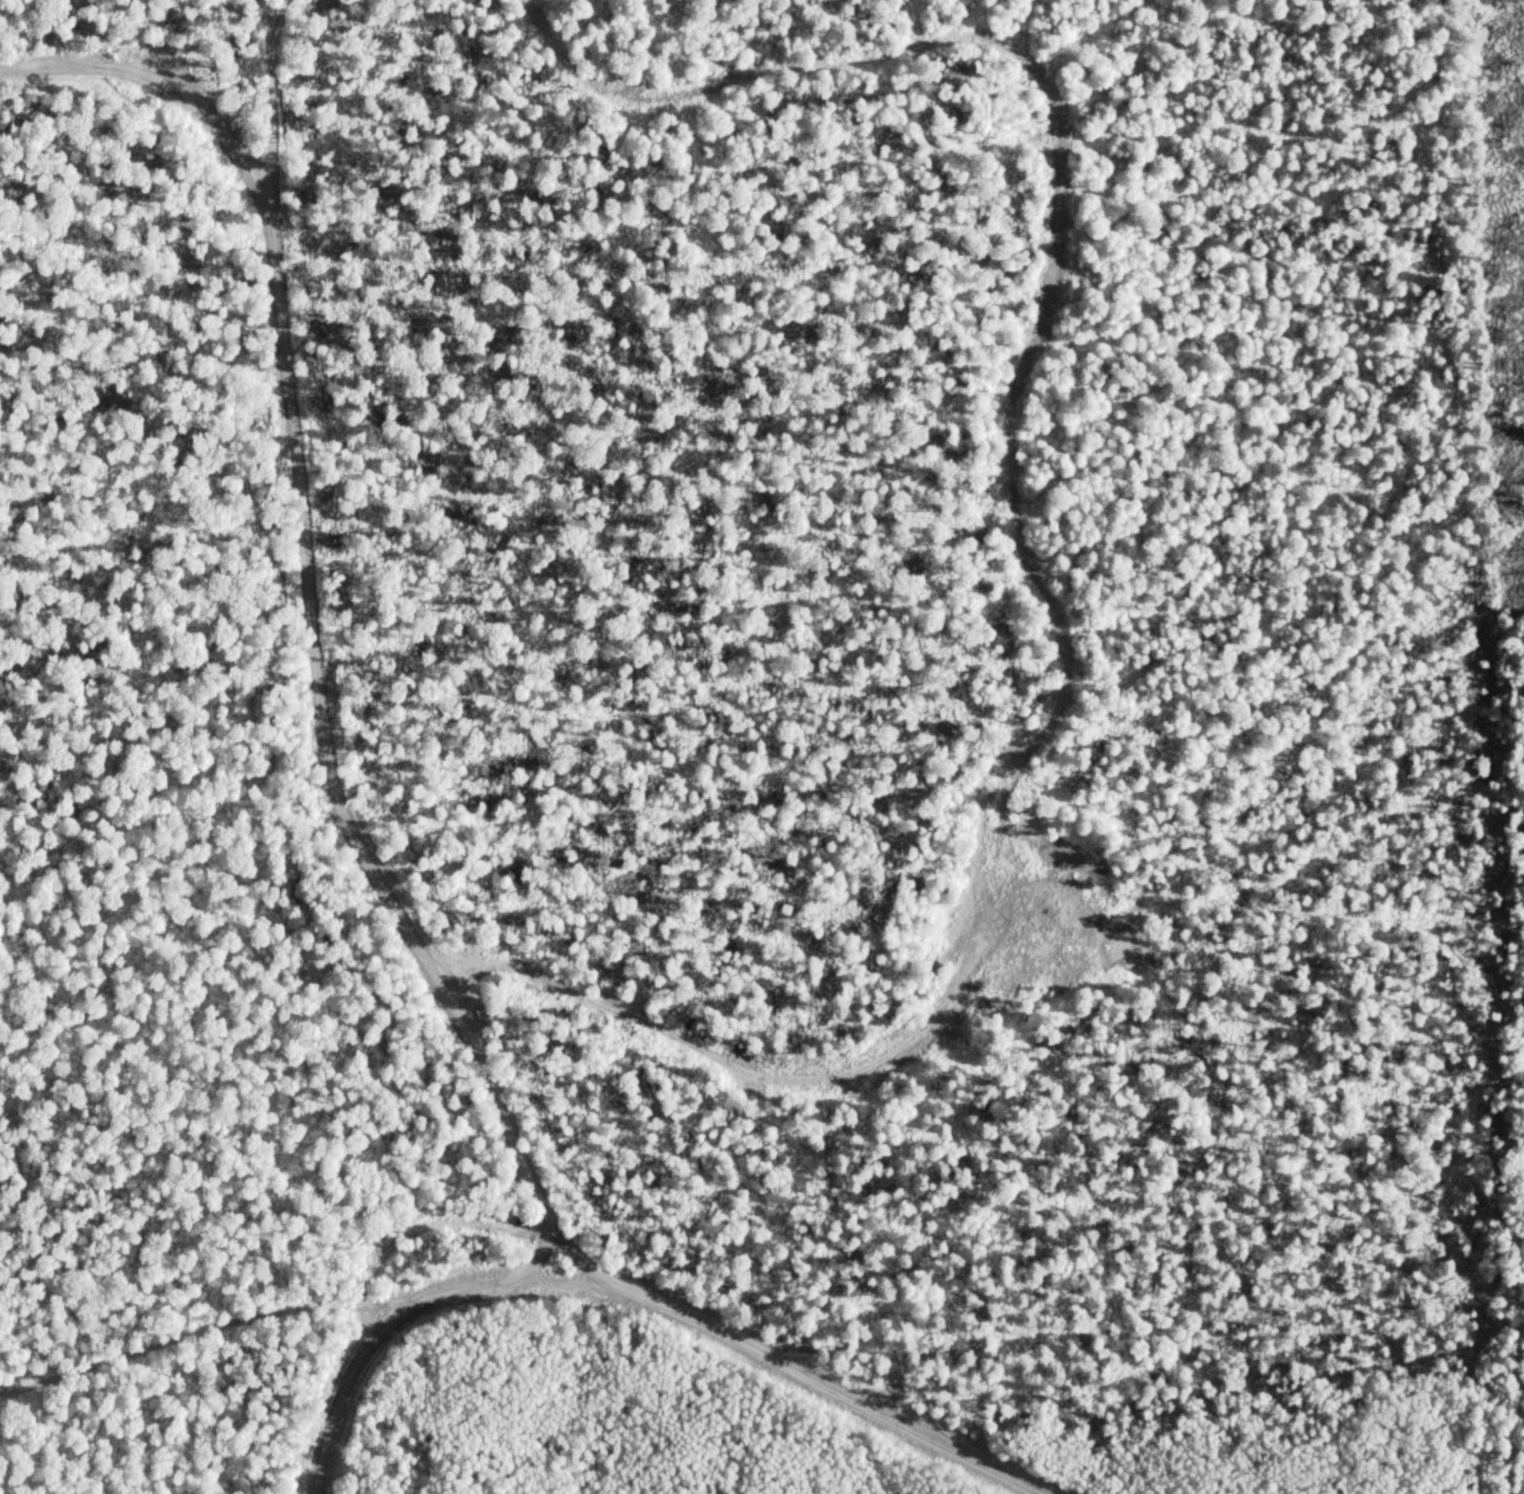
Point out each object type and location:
road: (285, 12)
road: (164, 83)
road: (1023, 535)
road: (327, 670)
road: (420, 1224)
road: (1353, 1257)
road: (541, 1258)
road: (633, 1296)
road: (182, 1333)

